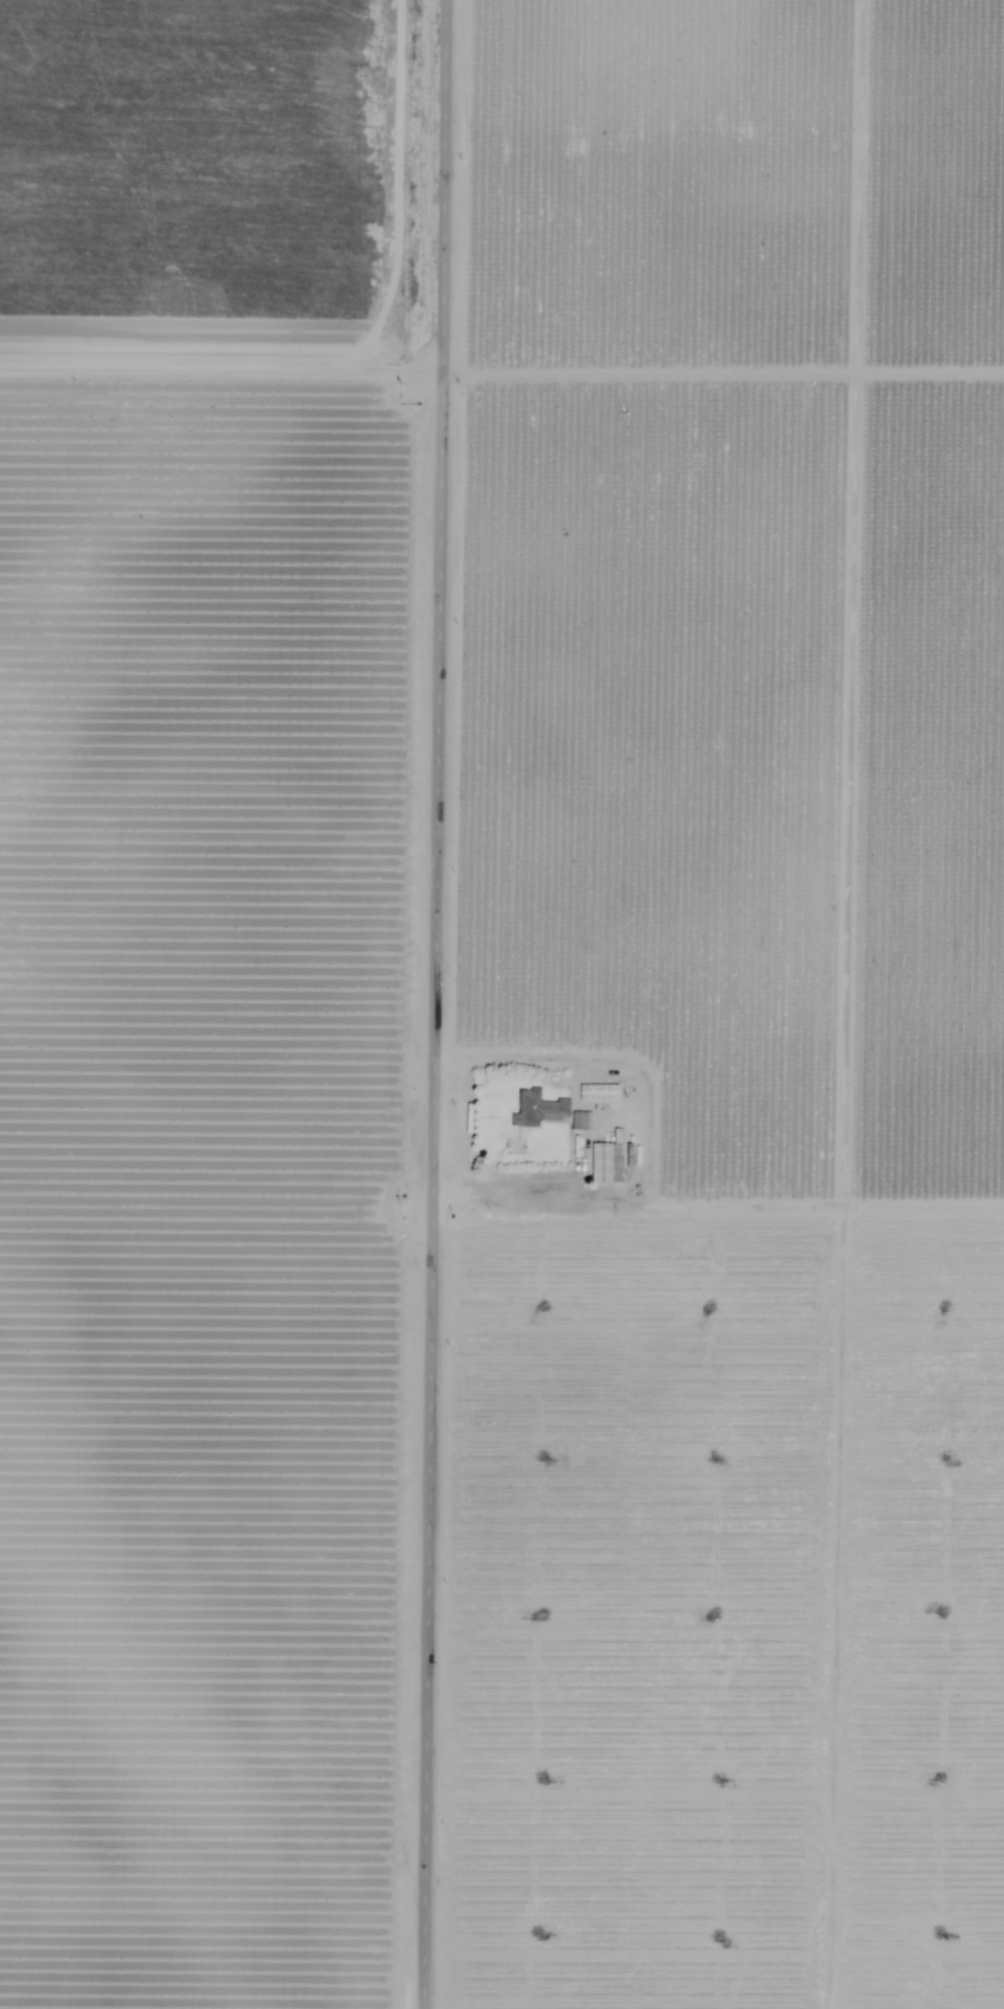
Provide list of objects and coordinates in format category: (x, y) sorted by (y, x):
crop: (222, 19)
crop: (217, 130)
road: (224, 357)
road: (436, 1004)
crop: (216, 1087)
building: (597, 1091)
building: (537, 1108)
building: (579, 1122)
building: (604, 1162)
road: (718, 1206)

